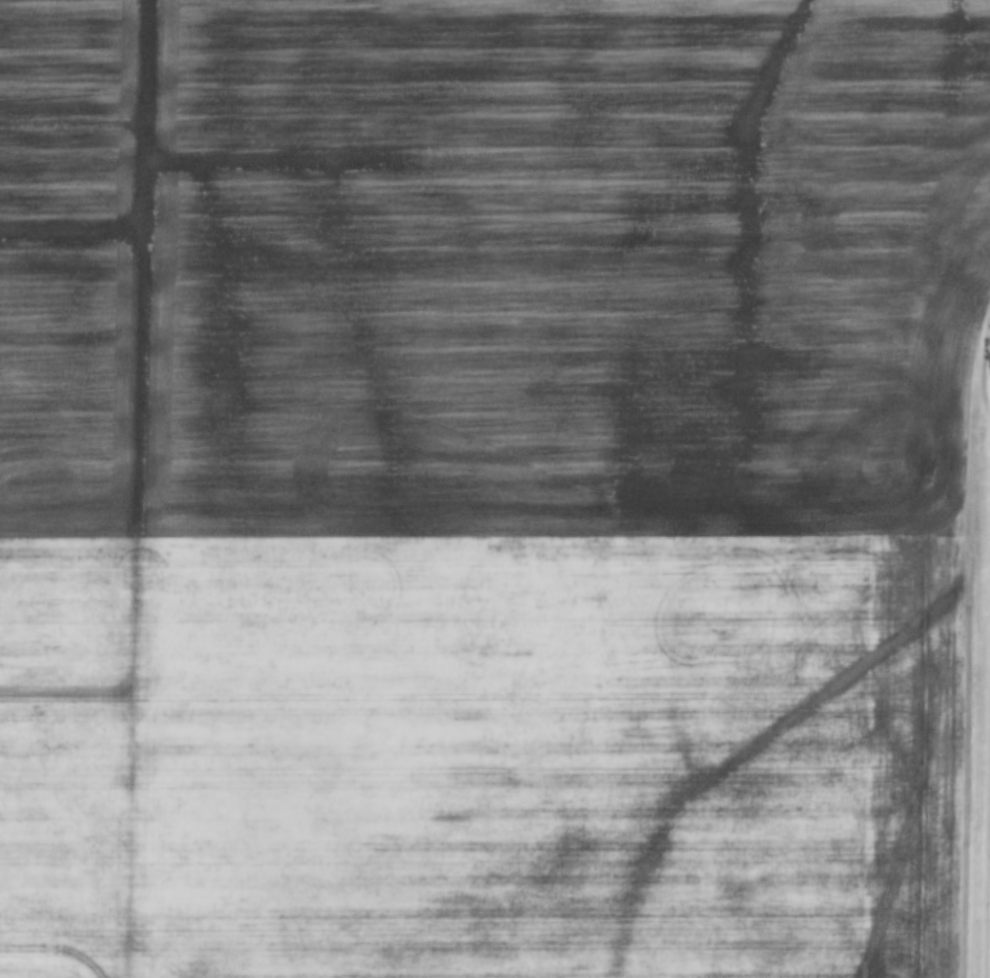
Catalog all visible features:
crop: (489, 486)

